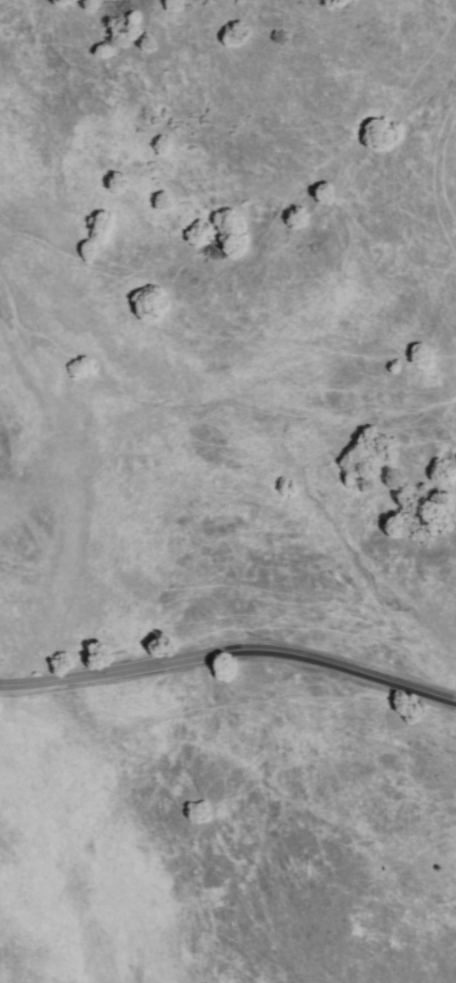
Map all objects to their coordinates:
road: (230, 654)

